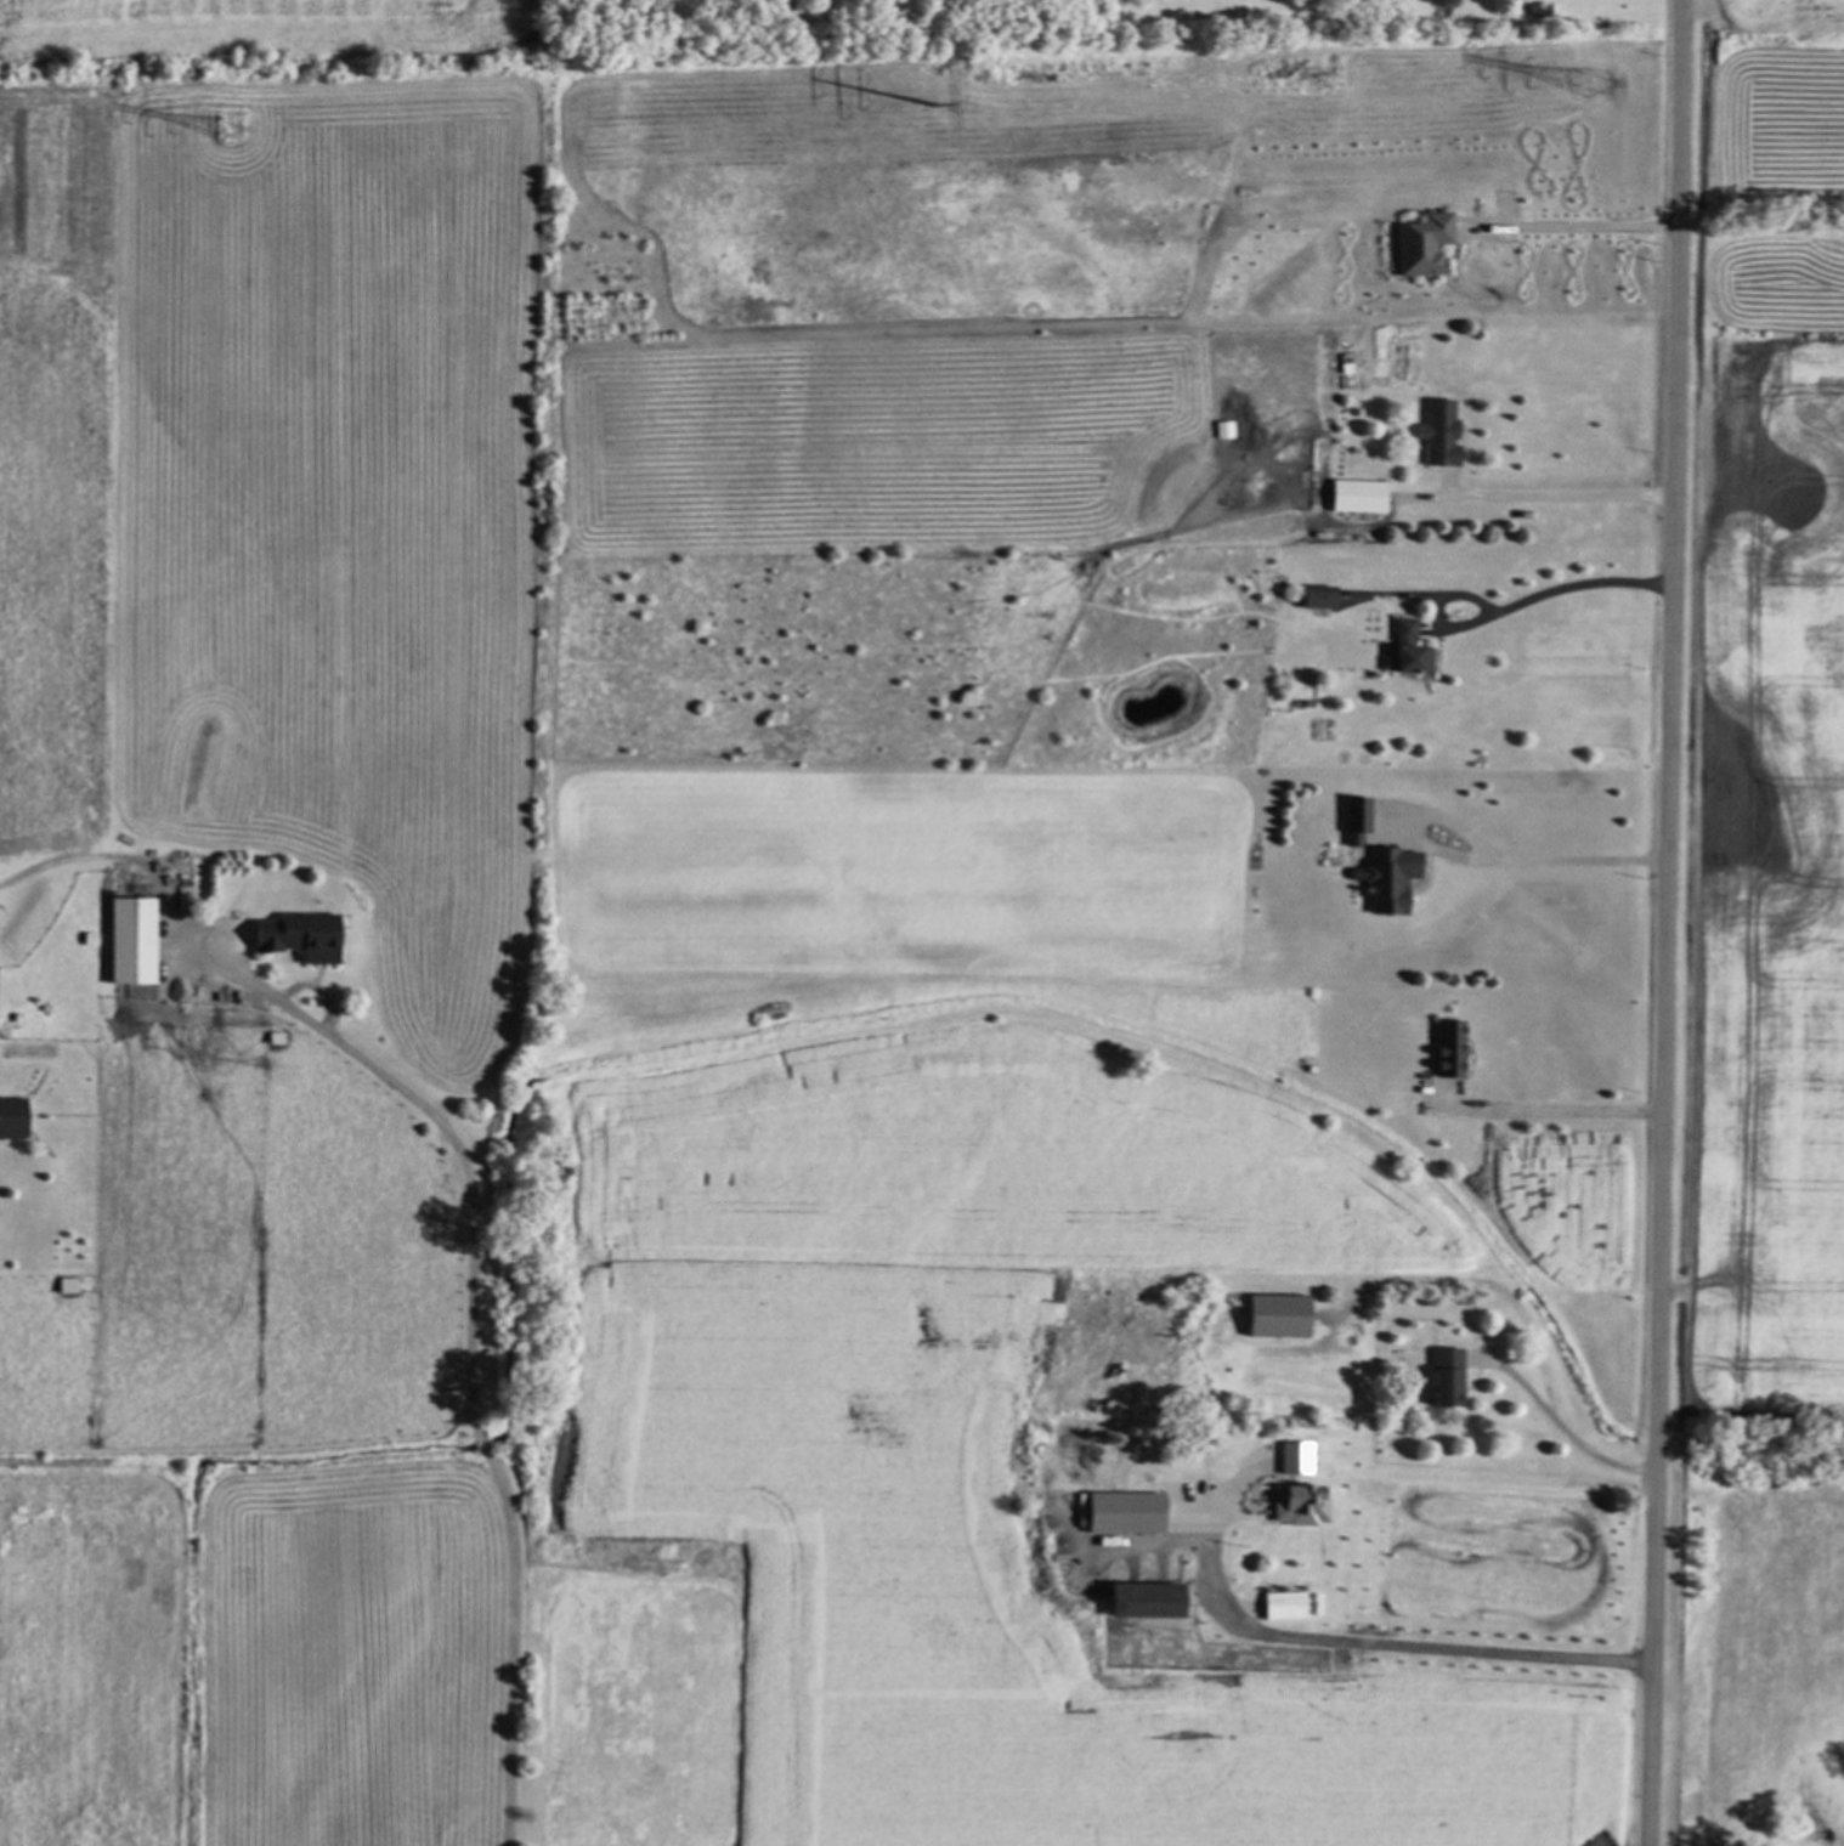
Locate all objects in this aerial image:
power tower: (1586, 94)
power tower: (950, 111)
power tower: (221, 136)
road: (1760, 225)
road: (1565, 232)
building: (1420, 243)
building: (1223, 429)
building: (1437, 432)
crop: (449, 443)
building: (1356, 496)
road: (1556, 500)
road: (1563, 589)
building: (1316, 596)
building: (1408, 649)
crop: (1769, 734)
road: (1488, 856)
building: (1391, 877)
road: (1665, 923)
building: (295, 934)
building: (128, 938)
building: (1446, 1046)
road: (1551, 1114)
building: (10, 1116)
building: (64, 1284)
building: (1272, 1314)
road: (474, 1340)
building: (1442, 1374)
road: (1559, 1428)
building: (1291, 1456)
road: (1430, 1476)
building: (1295, 1504)
building: (1120, 1511)
building: (1139, 1598)
building: (1282, 1603)
road: (1413, 1646)

